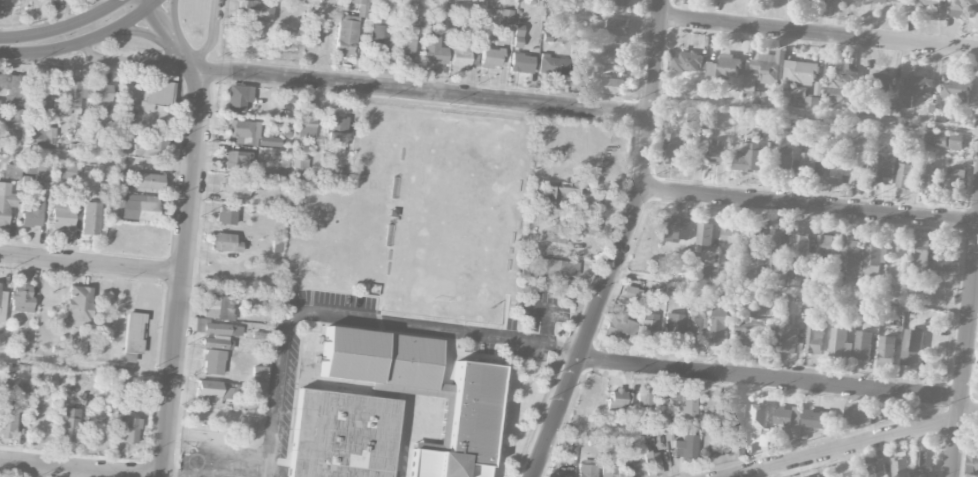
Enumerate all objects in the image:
building: (64, 0)
building: (797, 1)
building: (891, 1)
building: (619, 2)
building: (926, 3)
building: (442, 5)
building: (1, 7)
building: (361, 7)
building: (963, 8)
building: (254, 10)
building: (505, 17)
building: (417, 21)
building: (616, 27)
road: (212, 34)
road: (820, 34)
building: (313, 35)
building: (346, 35)
road: (76, 36)
building: (517, 37)
building: (288, 40)
building: (380, 40)
building: (405, 45)
building: (460, 48)
building: (430, 49)
building: (611, 55)
building: (491, 57)
road: (127, 60)
building: (521, 62)
building: (686, 62)
building: (553, 65)
building: (726, 66)
building: (800, 72)
building: (763, 76)
building: (842, 80)
building: (608, 85)
building: (12, 86)
building: (916, 89)
building: (956, 89)
building: (100, 91)
building: (884, 91)
road: (426, 92)
building: (156, 94)
building: (71, 96)
building: (238, 96)
building: (40, 98)
road: (815, 111)
building: (698, 119)
building: (306, 121)
building: (13, 122)
building: (336, 127)
building: (821, 127)
building: (772, 129)
building: (243, 131)
building: (40, 136)
building: (935, 139)
building: (269, 141)
building: (955, 141)
building: (147, 146)
building: (673, 147)
building: (716, 152)
building: (749, 158)
road: (97, 159)
building: (237, 160)
building: (784, 160)
building: (811, 163)
building: (300, 167)
building: (858, 168)
building: (35, 169)
building: (11, 170)
building: (64, 171)
building: (884, 171)
building: (834, 172)
building: (904, 176)
building: (954, 178)
building: (931, 179)
building: (148, 181)
building: (235, 184)
building: (559, 195)
building: (6, 202)
building: (135, 206)
road: (811, 206)
building: (31, 212)
building: (226, 214)
building: (61, 215)
building: (90, 218)
building: (583, 226)
building: (678, 228)
road: (188, 229)
building: (705, 234)
building: (731, 235)
building: (552, 238)
building: (752, 241)
building: (226, 242)
road: (623, 244)
building: (276, 245)
building: (800, 245)
building: (777, 249)
building: (824, 250)
building: (851, 254)
building: (947, 256)
building: (920, 258)
building: (874, 261)
road: (91, 262)
building: (526, 264)
building: (707, 265)
building: (684, 267)
building: (553, 270)
building: (631, 293)
road: (790, 294)
building: (21, 295)
building: (2, 305)
building: (78, 306)
building: (216, 306)
road: (354, 316)
building: (672, 325)
building: (696, 325)
building: (719, 325)
building: (619, 326)
building: (647, 326)
building: (215, 327)
building: (748, 333)
building: (132, 335)
building: (772, 335)
building: (814, 336)
building: (791, 340)
building: (214, 343)
building: (839, 344)
building: (77, 345)
building: (862, 345)
building: (912, 347)
building: (886, 353)
road: (964, 354)
building: (381, 359)
building: (213, 361)
road: (86, 366)
building: (258, 374)
road: (769, 379)
building: (210, 392)
building: (645, 399)
building: (617, 401)
building: (683, 405)
building: (858, 415)
building: (732, 417)
building: (759, 418)
building: (815, 419)
building: (7, 420)
building: (787, 420)
building: (68, 424)
building: (464, 426)
building: (128, 428)
building: (341, 435)
road: (856, 444)
building: (685, 446)
building: (972, 458)
building: (651, 463)
building: (923, 463)
building: (900, 466)
road: (81, 467)
building: (607, 468)
building: (878, 468)
building: (628, 469)
building: (585, 470)
building: (556, 474)
building: (852, 474)
building: (919, 475)
road: (172, 476)
building: (809, 476)

